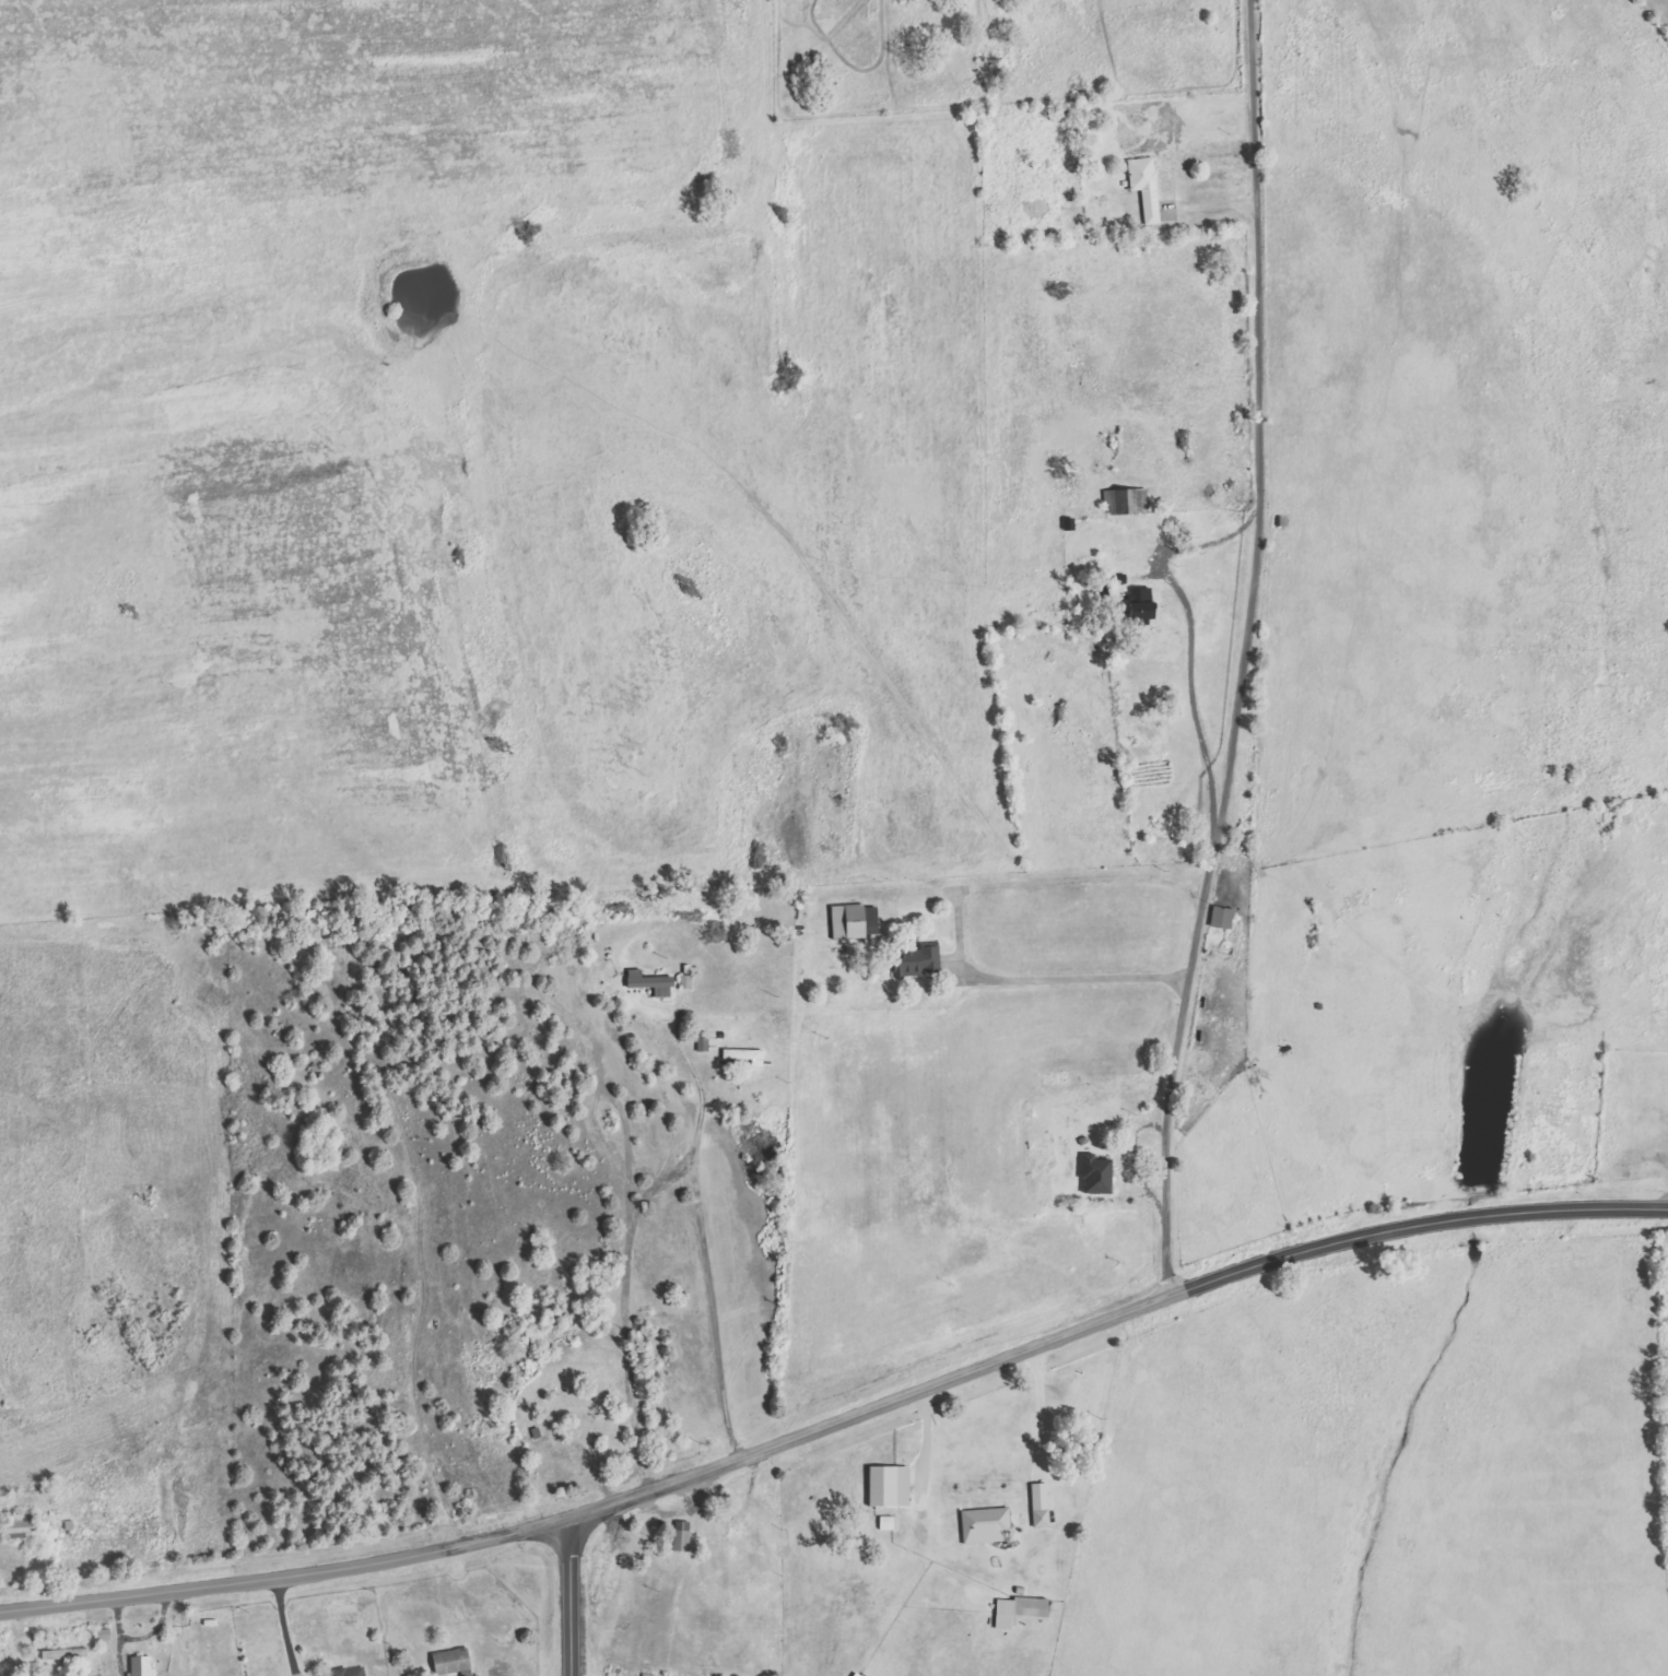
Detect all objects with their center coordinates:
building: (1144, 186)
building: (1125, 500)
building: (1141, 603)
road: (1249, 651)
building: (1221, 901)
building: (854, 921)
building: (916, 960)
building: (650, 982)
building: (745, 1055)
building: (1096, 1176)
road: (838, 1421)
building: (889, 1486)
building: (1039, 1506)
building: (886, 1523)
building: (20, 1524)
building: (984, 1525)
building: (681, 1536)
road: (568, 1597)
building: (1019, 1610)
building: (66, 1655)
building: (450, 1662)
building: (140, 1666)
building: (348, 1672)
building: (647, 1675)

